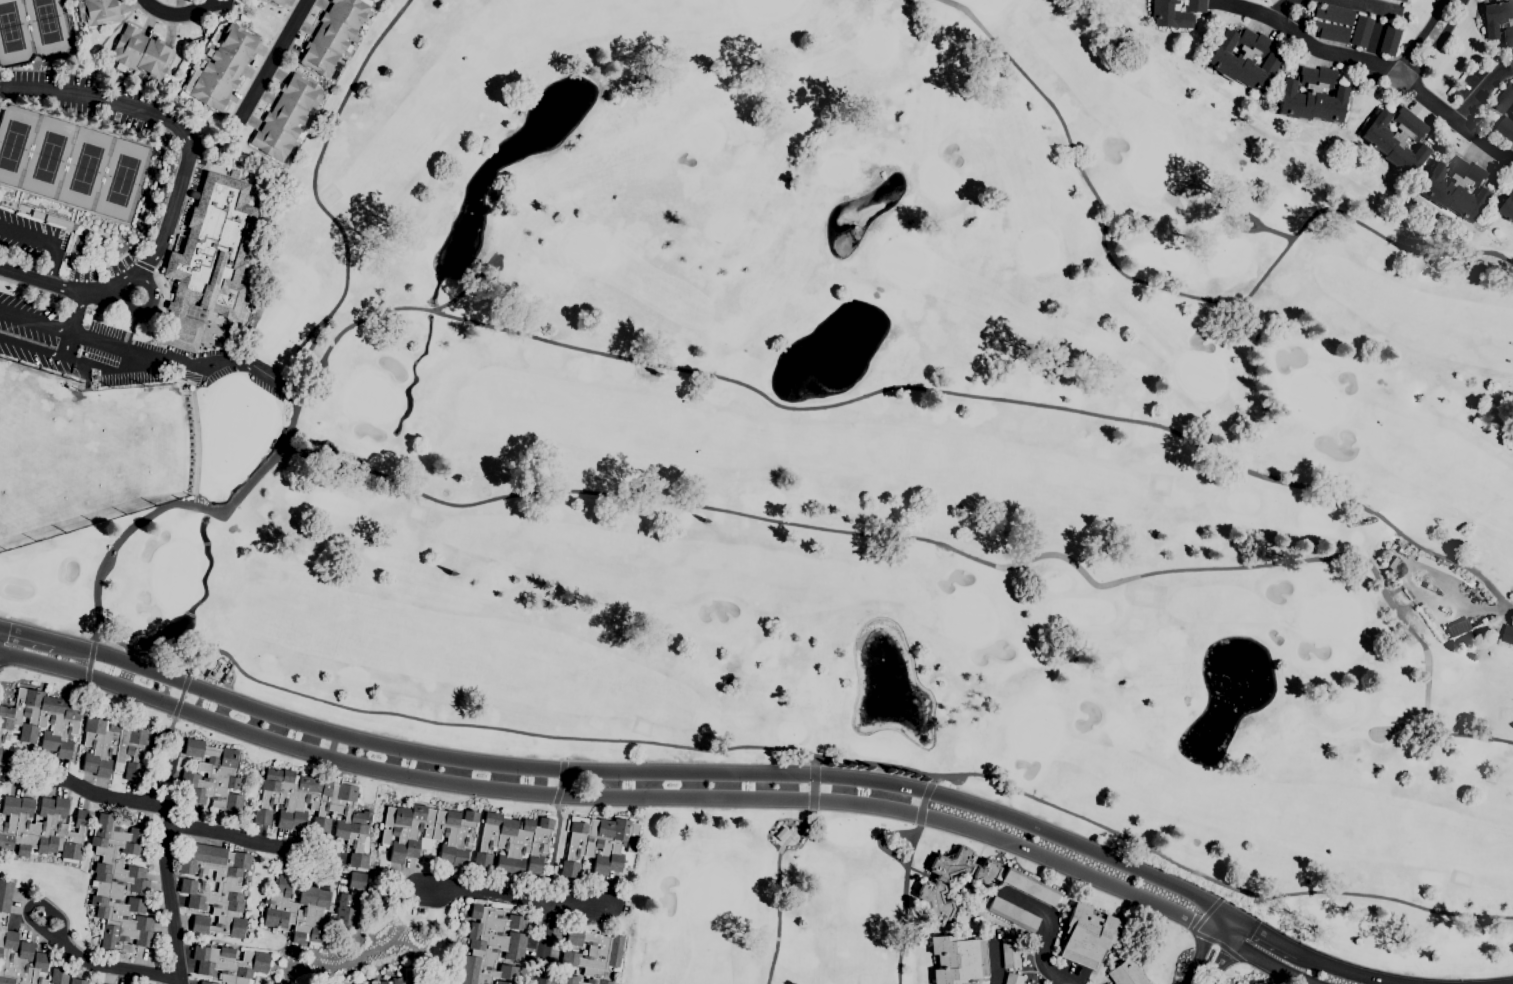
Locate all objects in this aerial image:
building: (1402, 0)
building: (275, 2)
building: (97, 11)
road: (1383, 11)
building: (1174, 12)
road: (1296, 13)
road: (184, 14)
building: (1335, 14)
building: (1496, 17)
road: (179, 23)
park: (49, 28)
building: (1330, 31)
building: (1360, 31)
park: (15, 35)
building: (333, 35)
building: (1507, 38)
road: (1417, 39)
building: (1389, 40)
road: (1435, 42)
road: (1312, 48)
building: (141, 52)
road: (262, 58)
building: (1243, 58)
road: (272, 59)
building: (221, 68)
road: (1481, 91)
building: (1312, 97)
building: (1503, 98)
road: (1431, 103)
building: (286, 117)
building: (1506, 128)
building: (1397, 139)
park: (15, 141)
road: (1482, 143)
road: (185, 144)
park: (47, 156)
park: (84, 168)
park: (121, 179)
building: (1456, 189)
road: (196, 190)
building: (1508, 209)
road: (28, 240)
building: (177, 244)
building: (207, 256)
road: (144, 265)
road: (51, 267)
road: (40, 283)
road: (166, 284)
road: (32, 288)
road: (1172, 290)
road: (76, 302)
road: (158, 307)
road: (144, 310)
road: (35, 322)
road: (72, 325)
road: (31, 347)
road: (128, 362)
road: (208, 366)
park: (842, 460)
building: (1403, 551)
building: (1445, 570)
building: (1428, 584)
road: (1484, 608)
building: (1431, 622)
road: (28, 635)
building: (1507, 635)
building: (219, 660)
road: (1427, 668)
building: (225, 670)
building: (40, 721)
building: (113, 748)
road: (153, 770)
road: (643, 775)
building: (213, 776)
road: (661, 795)
building: (315, 807)
building: (0, 819)
road: (181, 823)
building: (41, 827)
building: (429, 832)
building: (513, 843)
building: (598, 843)
building: (951, 864)
building: (986, 873)
building: (119, 885)
building: (1030, 887)
building: (194, 888)
building: (5, 895)
road: (483, 895)
road: (169, 896)
road: (31, 902)
building: (934, 903)
road: (576, 905)
building: (312, 911)
building: (1012, 914)
building: (0, 923)
road: (1049, 926)
road: (1261, 931)
building: (1087, 935)
road: (547, 943)
building: (492, 945)
road: (1214, 948)
building: (1010, 953)
building: (592, 956)
building: (957, 959)
building: (19, 960)
road: (995, 962)
building: (229, 963)
road: (113, 966)
road: (1346, 971)
building: (1126, 973)
road: (1069, 974)
building: (58, 976)
building: (403, 977)
building: (1014, 979)
building: (77, 981)
building: (206, 982)
building: (503, 982)
building: (98, 983)
building: (359, 983)

